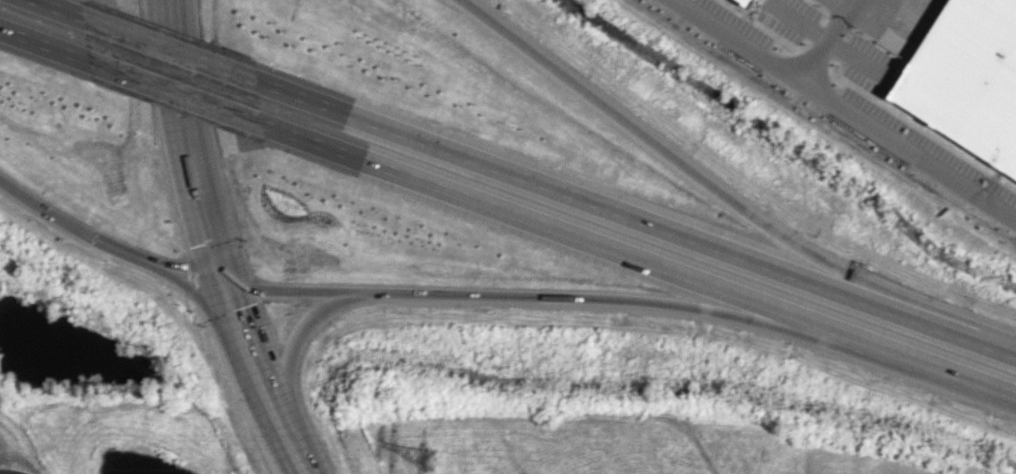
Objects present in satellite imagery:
building: (758, 1)
road: (61, 8)
road: (169, 17)
road: (45, 43)
road: (172, 48)
building: (969, 80)
road: (178, 91)
road: (849, 108)
road: (190, 150)
road: (692, 171)
road: (597, 202)
road: (541, 222)
road: (78, 227)
traffic signals: (220, 265)
road: (190, 267)
road: (515, 295)
road: (207, 302)
road: (236, 303)
road: (976, 339)
road: (296, 341)
road: (916, 358)
road: (268, 379)
road: (296, 445)
power tower: (427, 458)

